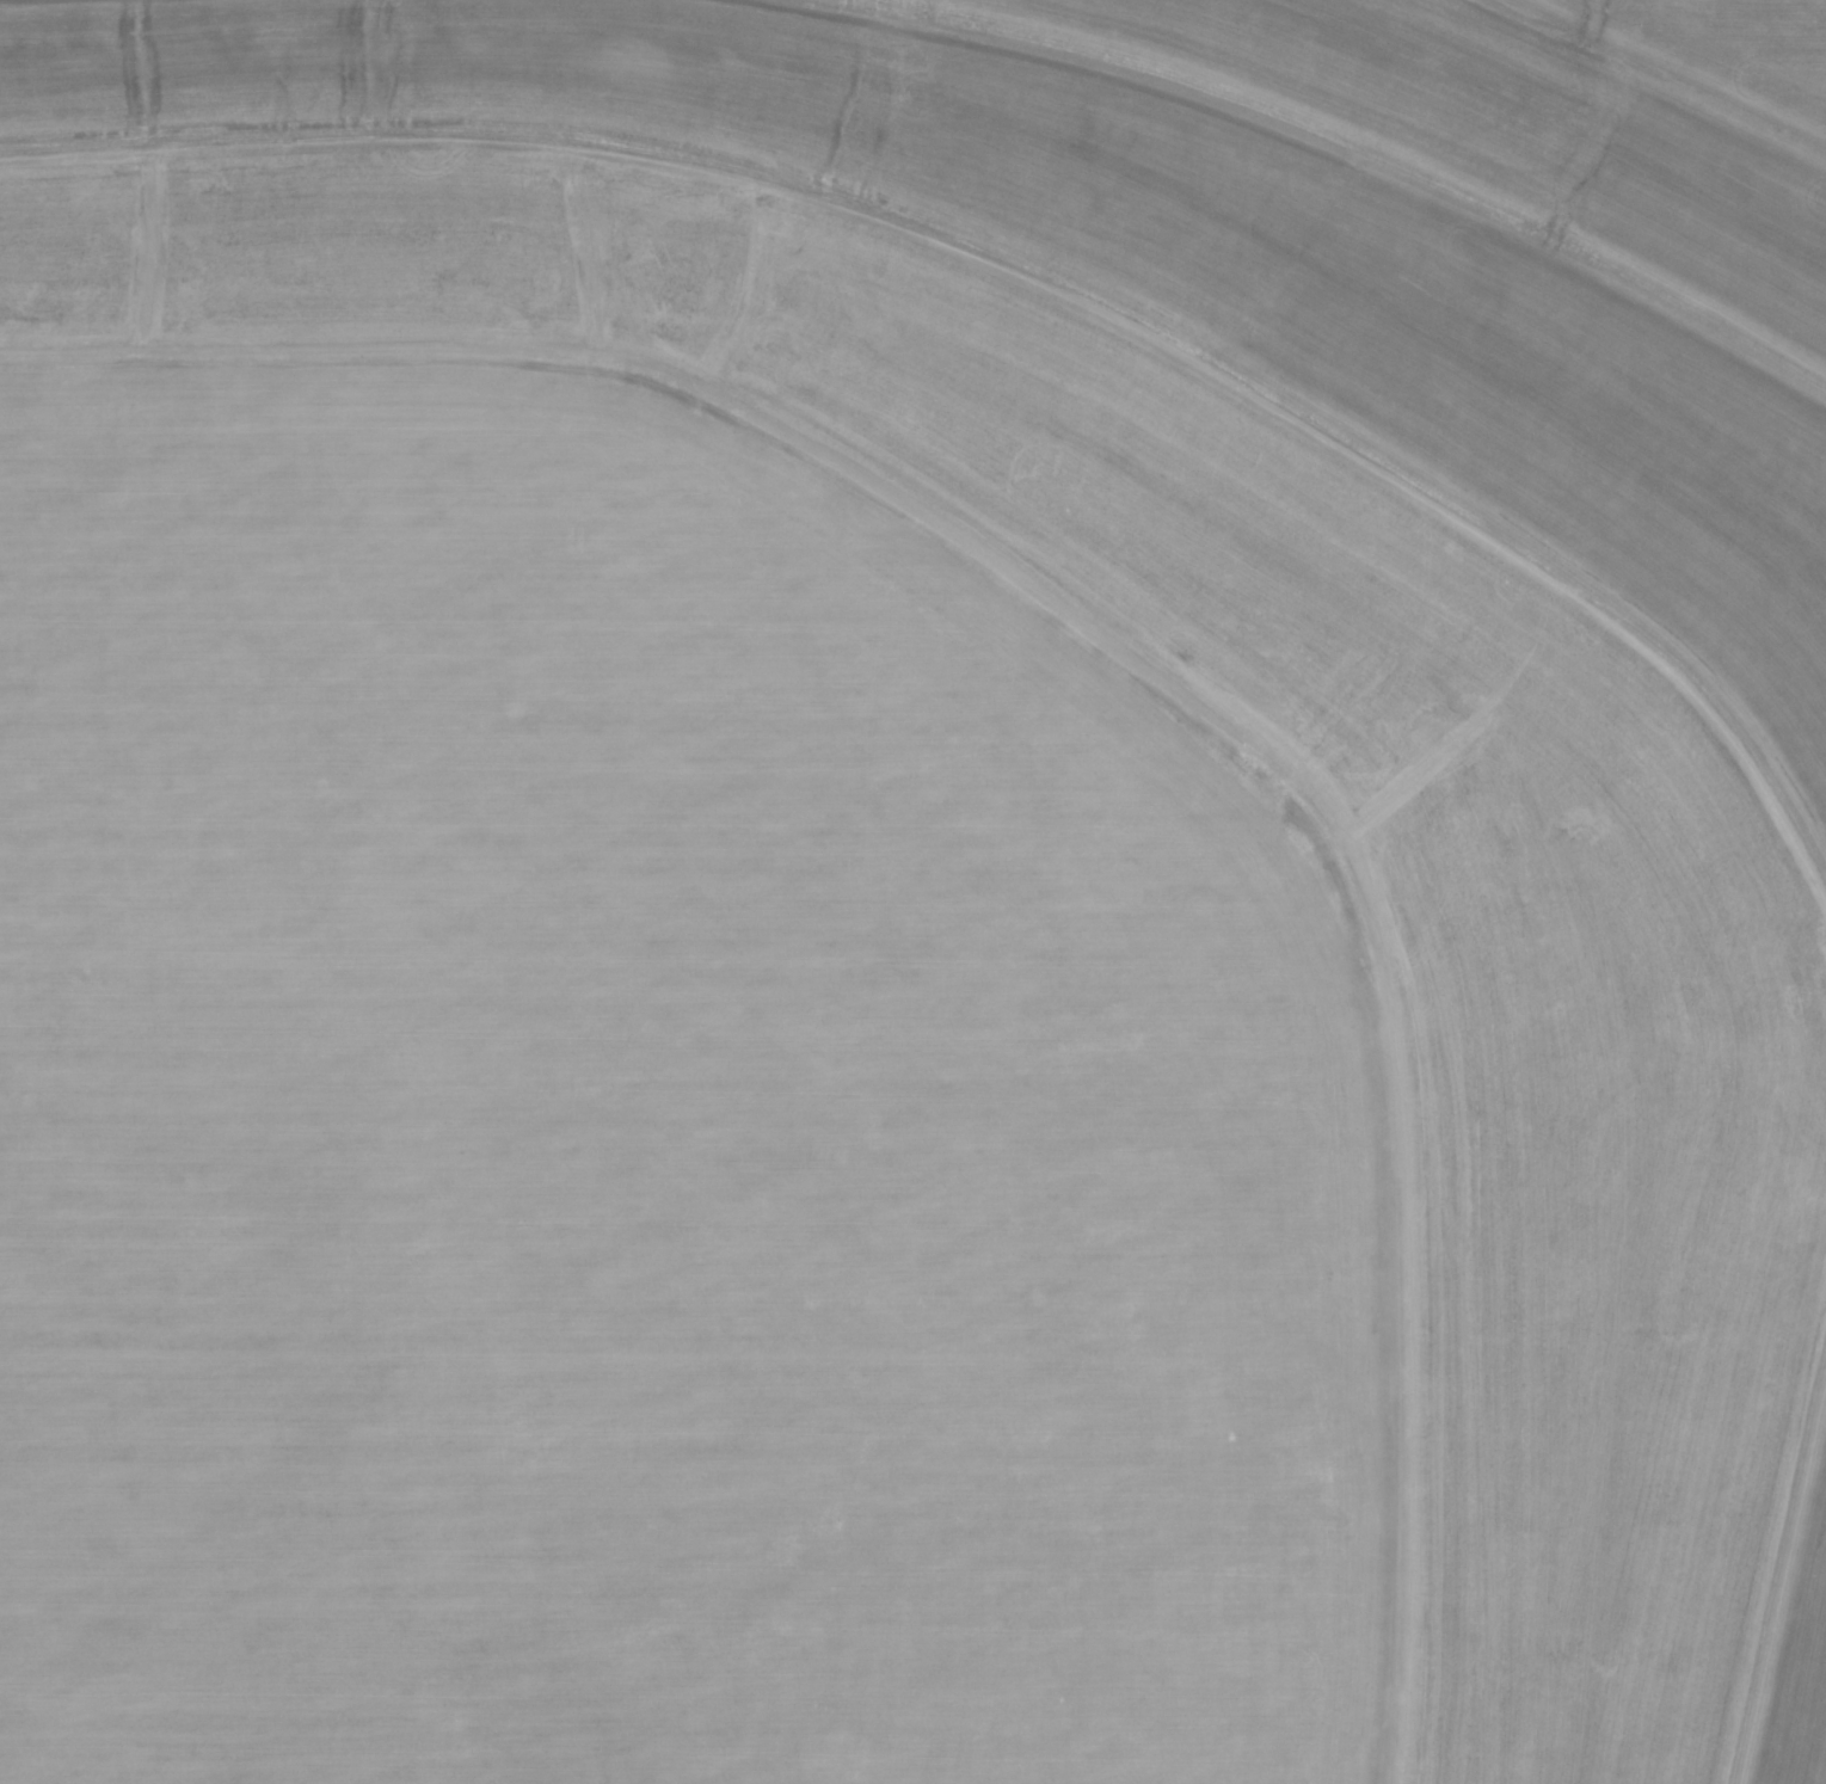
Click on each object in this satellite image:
crop: (912, 892)

